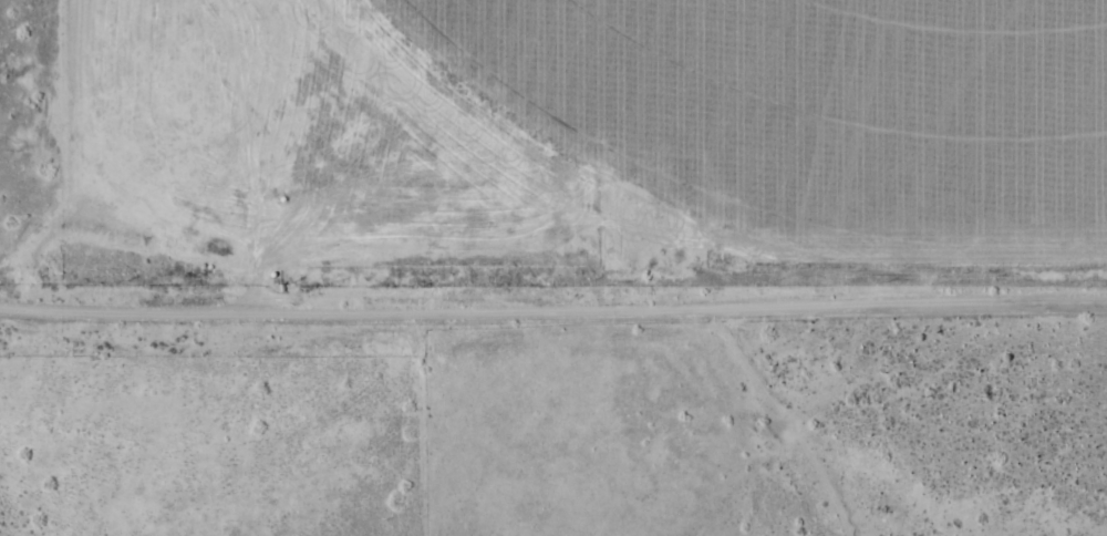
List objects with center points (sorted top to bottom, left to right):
crop: (824, 106)
road: (553, 307)
road: (775, 419)

